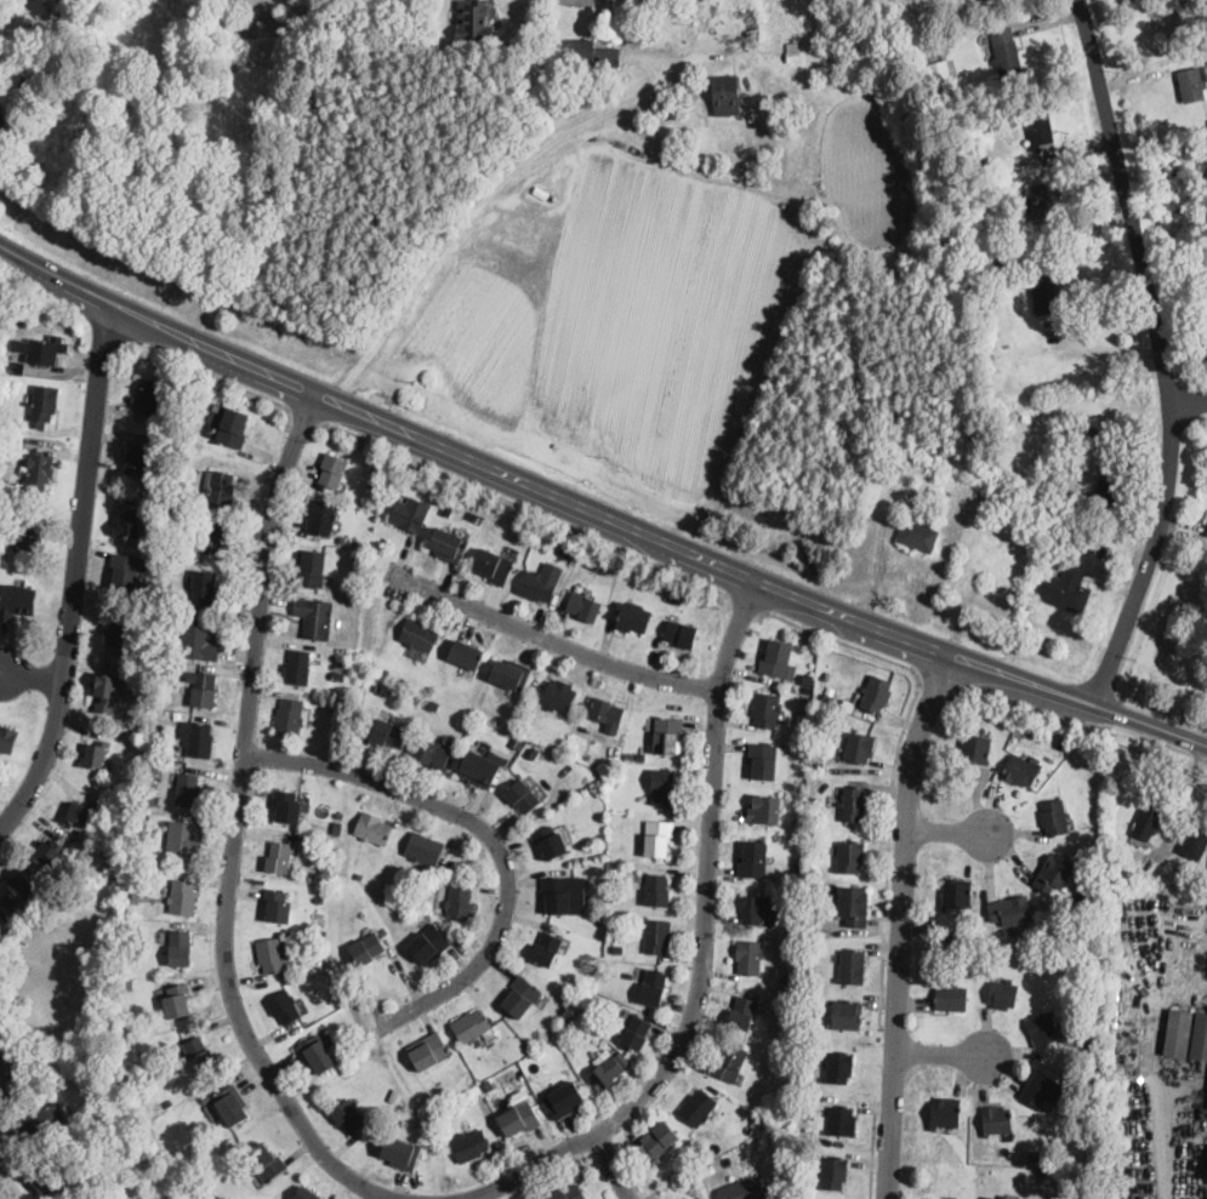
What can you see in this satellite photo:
building: (473, 22)
building: (279, 24)
building: (537, 27)
building: (753, 32)
building: (915, 42)
building: (792, 50)
building: (1006, 51)
building: (586, 55)
building: (6, 64)
building: (939, 72)
building: (1191, 84)
building: (25, 89)
building: (725, 95)
building: (2, 116)
building: (1040, 127)
building: (1037, 200)
road: (477, 210)
building: (1042, 286)
building: (979, 298)
building: (22, 321)
building: (46, 350)
road: (1160, 354)
building: (16, 366)
road: (254, 390)
building: (147, 395)
building: (44, 405)
road: (1190, 409)
building: (187, 415)
road: (304, 419)
building: (232, 426)
building: (1091, 436)
building: (904, 438)
building: (10, 439)
building: (184, 453)
building: (136, 458)
building: (184, 467)
building: (332, 470)
building: (38, 472)
building: (377, 472)
building: (1110, 483)
building: (220, 489)
building: (386, 489)
building: (1017, 497)
building: (165, 506)
road: (525, 509)
building: (410, 514)
road: (594, 514)
building: (320, 518)
building: (1066, 518)
building: (130, 524)
building: (1206, 531)
building: (28, 535)
building: (525, 535)
building: (917, 536)
building: (341, 539)
building: (213, 541)
building: (450, 544)
building: (565, 553)
building: (169, 564)
building: (998, 564)
building: (594, 565)
building: (494, 566)
building: (309, 567)
building: (124, 571)
road: (73, 573)
building: (536, 586)
building: (201, 587)
building: (355, 587)
building: (1064, 588)
building: (678, 599)
building: (16, 600)
road: (747, 604)
building: (583, 606)
building: (632, 616)
building: (314, 617)
building: (118, 633)
building: (681, 633)
building: (417, 634)
building: (197, 641)
road: (552, 641)
building: (466, 653)
building: (775, 658)
building: (296, 667)
building: (383, 672)
building: (509, 674)
road: (30, 675)
building: (337, 676)
building: (809, 679)
building: (200, 689)
building: (378, 689)
building: (808, 690)
building: (106, 692)
building: (876, 693)
building: (556, 696)
building: (433, 706)
building: (765, 709)
building: (337, 710)
building: (607, 714)
building: (289, 716)
building: (387, 733)
building: (666, 735)
building: (7, 738)
building: (199, 741)
building: (514, 743)
building: (158, 747)
building: (859, 747)
building: (975, 748)
building: (431, 753)
building: (95, 754)
building: (531, 754)
building: (640, 756)
building: (762, 760)
building: (158, 763)
building: (610, 766)
building: (479, 770)
building: (1020, 771)
building: (624, 775)
road: (1190, 777)
building: (596, 787)
building: (661, 787)
building: (187, 789)
building: (522, 795)
building: (597, 798)
building: (154, 800)
building: (815, 800)
building: (853, 804)
building: (286, 807)
building: (763, 810)
building: (80, 813)
building: (338, 813)
building: (1054, 817)
building: (318, 820)
building: (1148, 821)
building: (337, 827)
building: (372, 828)
road: (233, 829)
road: (483, 830)
road: (945, 832)
building: (657, 838)
building: (182, 839)
building: (550, 843)
building: (1194, 843)
building: (620, 847)
building: (423, 849)
road: (889, 852)
building: (47, 853)
building: (850, 857)
building: (278, 858)
building: (752, 860)
building: (798, 867)
building: (769, 870)
building: (1054, 873)
building: (393, 874)
building: (358, 877)
building: (813, 884)
building: (587, 885)
building: (399, 887)
building: (655, 890)
building: (17, 891)
building: (560, 892)
building: (603, 892)
building: (956, 895)
building: (182, 897)
building: (135, 898)
building: (619, 898)
building: (318, 900)
building: (459, 903)
building: (853, 906)
building: (277, 907)
building: (758, 908)
building: (1010, 910)
building: (598, 917)
building: (18, 918)
road: (903, 925)
building: (382, 932)
building: (797, 933)
building: (619, 935)
building: (655, 936)
building: (967, 938)
building: (428, 944)
building: (180, 948)
building: (368, 948)
building: (546, 949)
building: (617, 949)
road: (701, 949)
building: (271, 954)
building: (748, 957)
building: (1049, 960)
building: (852, 967)
building: (129, 971)
building: (628, 976)
road: (1206, 976)
building: (787, 978)
building: (129, 984)
building: (575, 987)
building: (651, 987)
building: (1003, 994)
building: (519, 995)
building: (951, 998)
building: (176, 1000)
building: (283, 1006)
building: (604, 1009)
building: (741, 1012)
building: (846, 1015)
building: (469, 1026)
building: (807, 1026)
building: (581, 1027)
building: (1042, 1028)
building: (634, 1032)
building: (1178, 1033)
building: (1200, 1037)
building: (813, 1044)
building: (786, 1047)
building: (428, 1051)
building: (199, 1052)
building: (315, 1054)
road: (941, 1055)
building: (729, 1062)
building: (838, 1067)
building: (605, 1072)
building: (5, 1074)
building: (488, 1085)
building: (1041, 1089)
building: (206, 1097)
building: (812, 1098)
building: (562, 1100)
building: (167, 1102)
building: (230, 1104)
building: (696, 1107)
building: (212, 1110)
building: (945, 1113)
building: (349, 1117)
building: (44, 1118)
building: (519, 1118)
building: (756, 1118)
building: (996, 1120)
building: (842, 1121)
building: (456, 1127)
building: (1086, 1136)
building: (659, 1138)
building: (797, 1138)
building: (469, 1146)
building: (400, 1153)
building: (691, 1155)
building: (1034, 1157)
building: (264, 1161)
road: (610, 1166)
building: (710, 1170)
building: (832, 1172)
building: (1042, 1174)
building: (47, 1184)
building: (744, 1189)
building: (568, 1192)
building: (306, 1194)
road: (376, 1197)
building: (1002, 1197)
building: (704, 1198)
building: (930, 1198)
building: (990, 1198)

